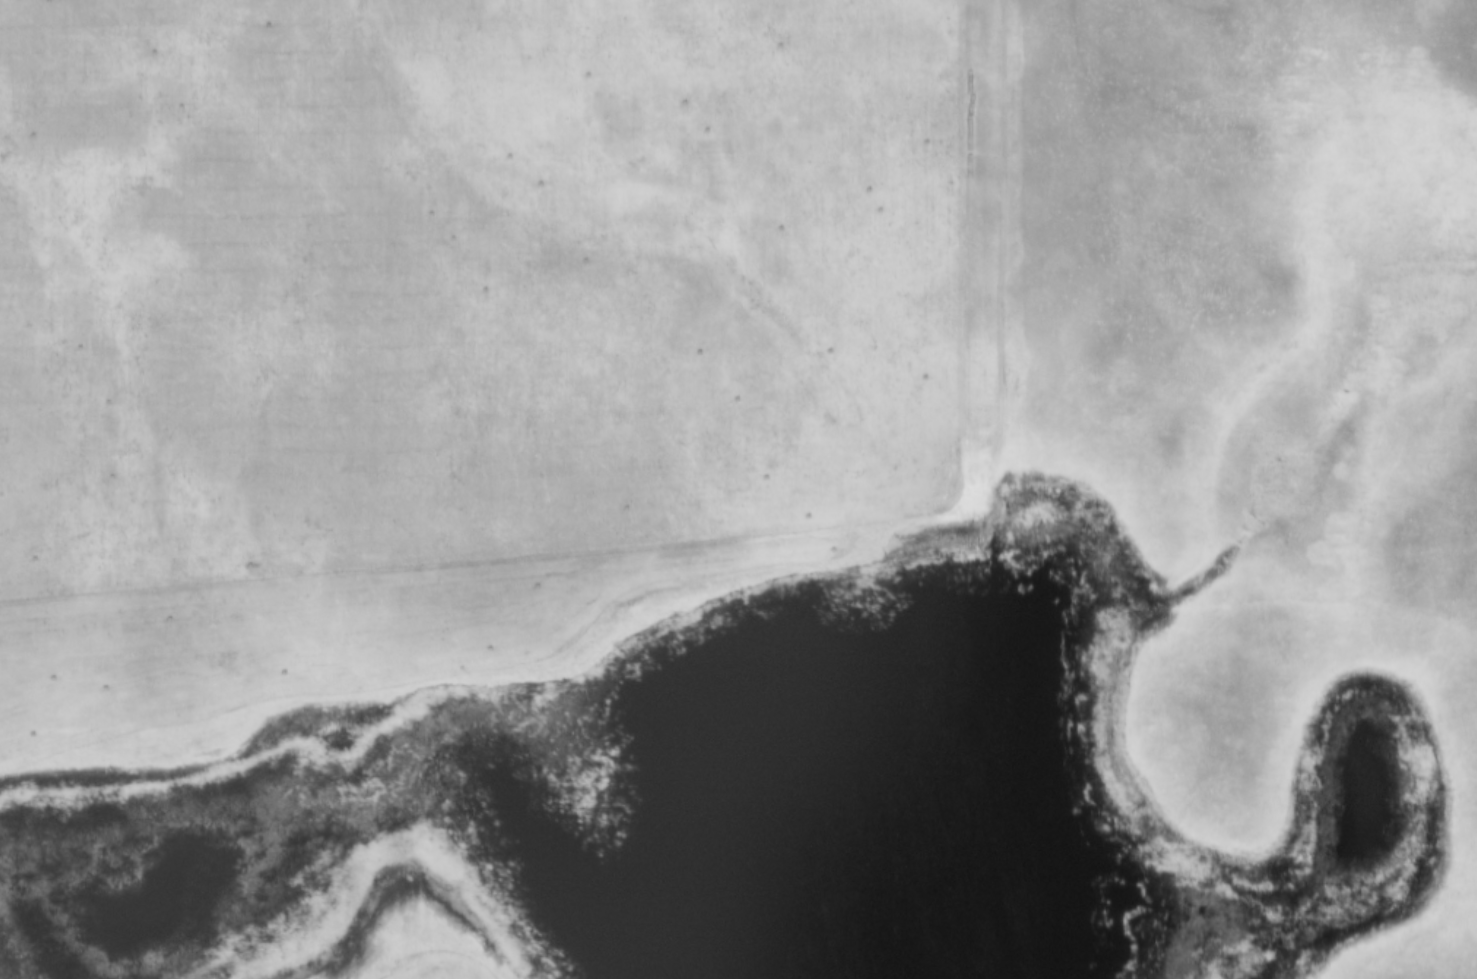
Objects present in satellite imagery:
road: (1018, 242)

